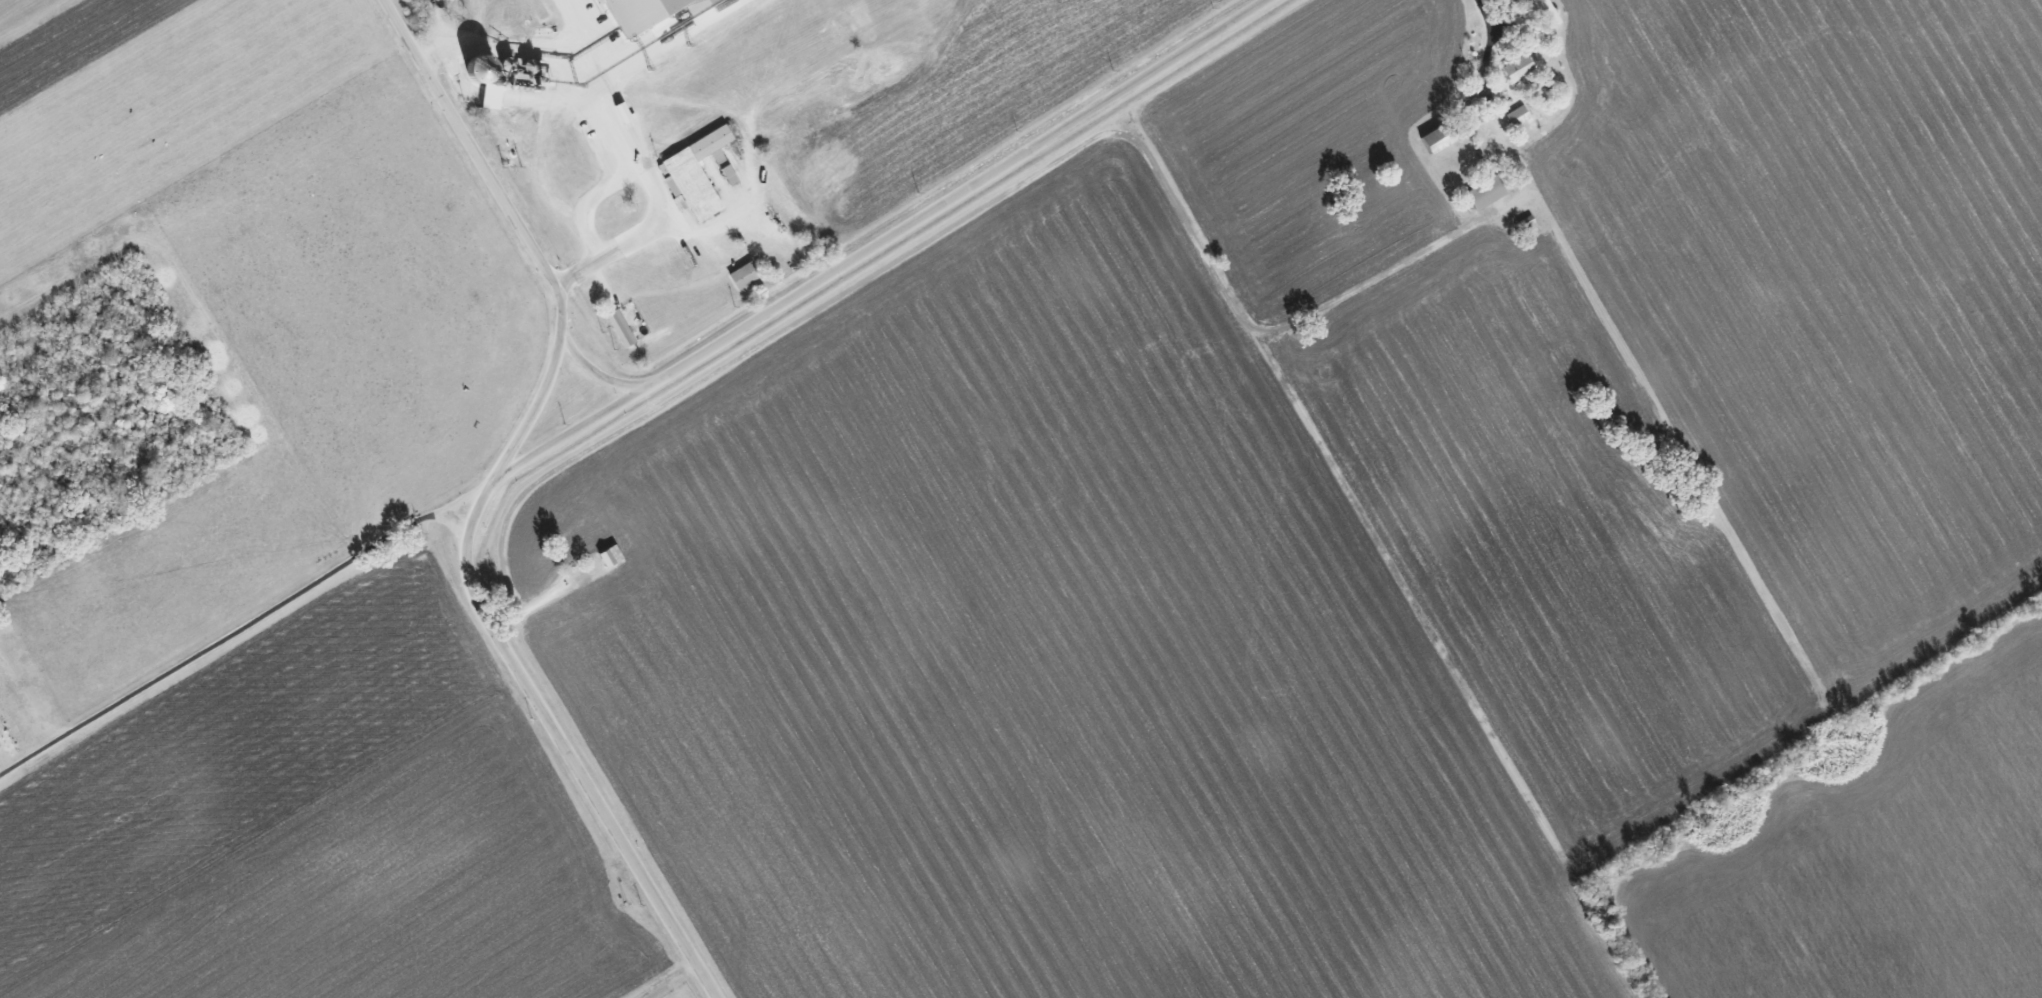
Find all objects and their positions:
building: (635, 10)
road: (1487, 40)
road: (661, 44)
road: (525, 49)
road: (597, 63)
building: (1518, 67)
building: (696, 172)
building: (1486, 192)
road: (591, 203)
road: (664, 220)
road: (874, 248)
building: (744, 275)
building: (620, 328)
road: (594, 372)
road: (477, 501)
road: (232, 631)

